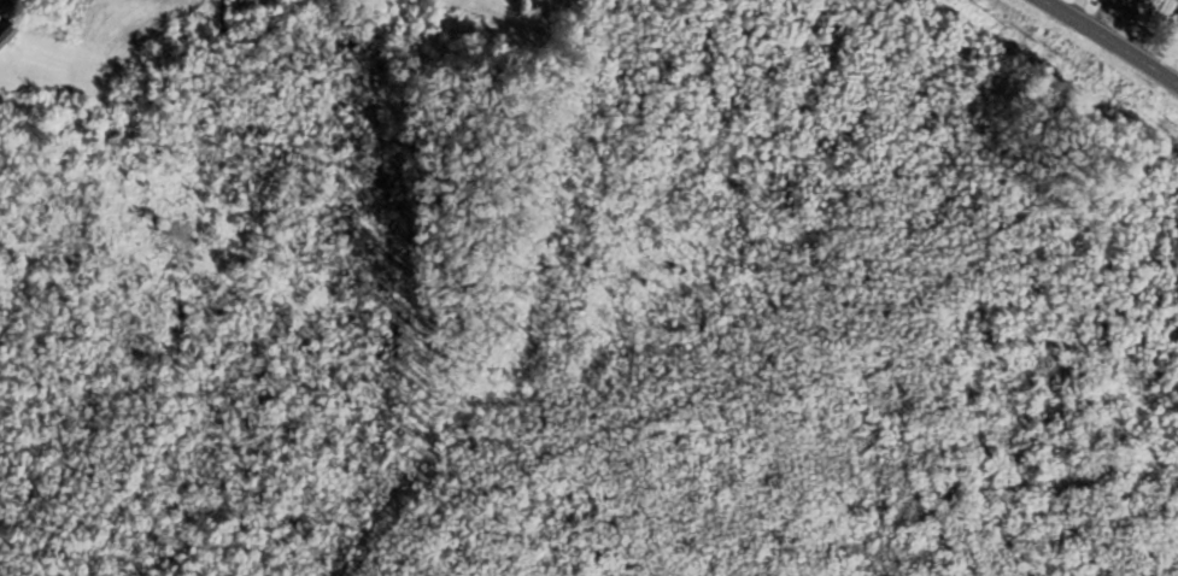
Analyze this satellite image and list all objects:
road: (1, 1)
building: (1145, 4)
building: (1177, 30)
road: (1109, 43)

